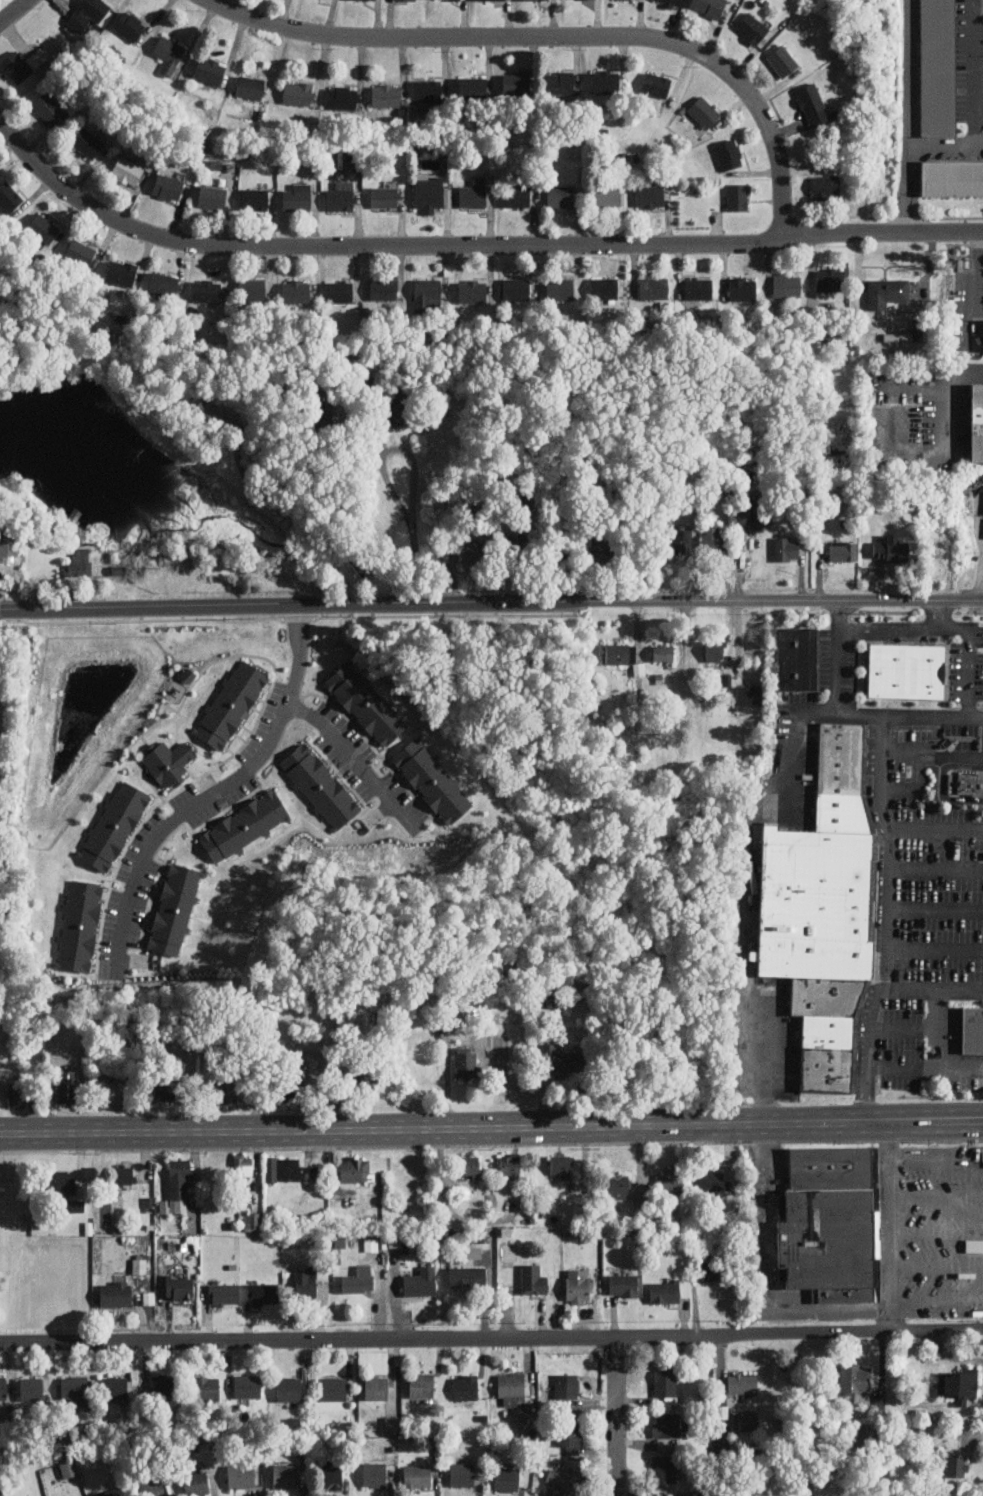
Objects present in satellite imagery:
building: (484, 0)
building: (528, 0)
park: (3, 2)
building: (673, 2)
road: (978, 6)
building: (710, 7)
road: (14, 12)
building: (88, 13)
building: (129, 25)
building: (752, 28)
road: (559, 36)
building: (169, 53)
building: (37, 57)
building: (782, 60)
building: (939, 66)
building: (16, 67)
building: (209, 70)
road: (974, 71)
building: (608, 81)
building: (560, 82)
building: (515, 83)
building: (656, 84)
building: (250, 87)
building: (472, 87)
building: (428, 89)
building: (297, 92)
building: (386, 95)
building: (342, 97)
building: (808, 98)
building: (47, 106)
building: (704, 111)
road: (908, 116)
building: (88, 142)
road: (945, 143)
building: (729, 153)
building: (127, 170)
building: (953, 178)
building: (168, 186)
building: (825, 186)
building: (430, 192)
building: (606, 195)
building: (9, 196)
building: (212, 196)
road: (356, 196)
building: (516, 196)
building: (649, 196)
building: (738, 196)
building: (298, 197)
building: (384, 197)
building: (472, 197)
building: (560, 197)
building: (255, 199)
building: (340, 199)
building: (42, 227)
road: (472, 247)
building: (80, 251)
building: (121, 271)
building: (829, 279)
building: (163, 283)
building: (787, 285)
building: (603, 287)
building: (653, 287)
building: (252, 288)
building: (427, 288)
building: (516, 288)
building: (560, 288)
building: (698, 288)
building: (742, 288)
building: (383, 289)
building: (206, 290)
building: (295, 291)
building: (339, 291)
building: (472, 291)
building: (885, 291)
building: (914, 332)
building: (978, 332)
road: (945, 401)
building: (321, 411)
building: (394, 413)
building: (217, 414)
building: (977, 422)
road: (415, 471)
building: (756, 515)
road: (286, 518)
road: (357, 520)
building: (682, 538)
building: (714, 538)
building: (521, 542)
building: (602, 543)
building: (8, 547)
building: (786, 548)
building: (891, 548)
building: (561, 549)
building: (842, 550)
building: (468, 554)
building: (81, 561)
road: (491, 604)
road: (885, 630)
road: (968, 640)
building: (716, 650)
building: (664, 652)
building: (620, 653)
road: (835, 656)
building: (799, 658)
building: (639, 668)
building: (909, 671)
building: (748, 696)
building: (366, 701)
building: (231, 703)
road: (909, 714)
road: (793, 745)
road: (933, 754)
road: (352, 759)
building: (168, 762)
road: (882, 770)
building: (433, 778)
building: (967, 784)
building: (320, 785)
road: (900, 788)
road: (211, 793)
building: (113, 825)
building: (245, 825)
road: (937, 868)
road: (936, 907)
building: (176, 908)
building: (826, 910)
building: (79, 925)
road: (887, 929)
road: (935, 947)
road: (933, 988)
road: (903, 1028)
road: (936, 1029)
building: (974, 1029)
building: (562, 1059)
building: (465, 1064)
road: (758, 1064)
road: (925, 1068)
building: (365, 1080)
building: (67, 1086)
building: (282, 1088)
building: (228, 1089)
building: (163, 1090)
building: (112, 1093)
building: (16, 1096)
road: (491, 1127)
road: (935, 1160)
building: (244, 1164)
building: (470, 1165)
building: (510, 1165)
building: (561, 1165)
building: (355, 1168)
building: (289, 1169)
building: (124, 1175)
building: (710, 1181)
building: (62, 1182)
building: (671, 1182)
building: (178, 1185)
building: (619, 1186)
road: (936, 1195)
building: (76, 1205)
building: (251, 1220)
building: (832, 1222)
road: (889, 1226)
road: (933, 1229)
road: (980, 1230)
building: (371, 1243)
building: (974, 1245)
building: (482, 1255)
building: (140, 1264)
road: (937, 1265)
building: (712, 1270)
building: (467, 1275)
road: (759, 1276)
building: (359, 1278)
building: (533, 1279)
building: (420, 1282)
building: (305, 1284)
building: (577, 1285)
building: (623, 1285)
building: (179, 1287)
building: (665, 1290)
building: (115, 1293)
building: (262, 1293)
building: (223, 1294)
road: (937, 1299)
road: (491, 1339)
building: (981, 1346)
building: (856, 1381)
building: (665, 1382)
building: (742, 1384)
building: (959, 1384)
building: (162, 1385)
building: (421, 1385)
building: (567, 1386)
building: (3, 1387)
building: (74, 1387)
building: (207, 1387)
building: (248, 1387)
building: (465, 1387)
building: (31, 1388)
building: (115, 1388)
building: (289, 1388)
building: (376, 1388)
building: (513, 1388)
building: (332, 1389)
road: (615, 1417)
building: (748, 1420)
building: (392, 1423)
building: (671, 1425)
building: (863, 1434)
building: (569, 1436)
building: (959, 1465)
building: (69, 1467)
building: (664, 1469)
building: (464, 1472)
building: (270, 1474)
building: (374, 1474)
building: (241, 1475)
building: (285, 1475)
building: (417, 1475)
building: (331, 1477)
building: (506, 1479)
building: (561, 1482)
building: (196, 1483)
building: (152, 1487)
building: (109, 1492)

